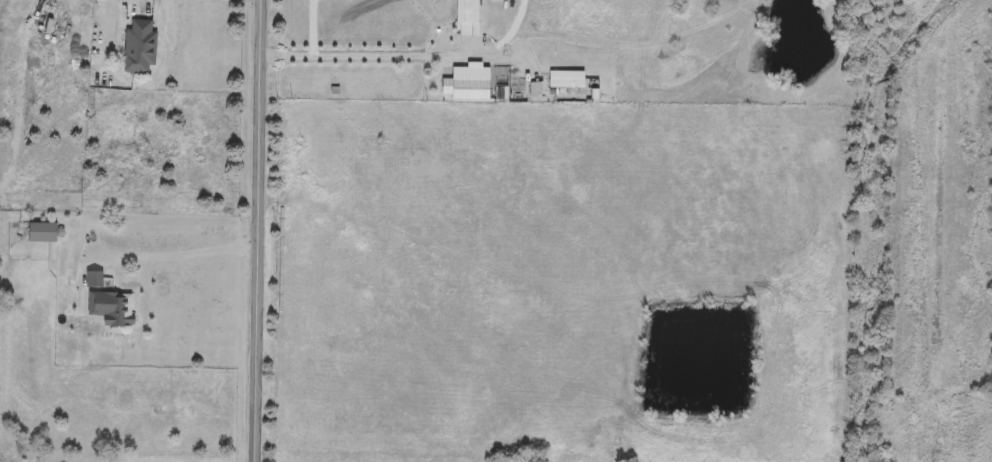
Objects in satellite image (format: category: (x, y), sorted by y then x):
building: (466, 17)
building: (139, 49)
road: (366, 63)
building: (565, 82)
building: (466, 86)
road: (259, 231)
building: (42, 235)
road: (179, 254)
building: (93, 282)
building: (110, 310)

